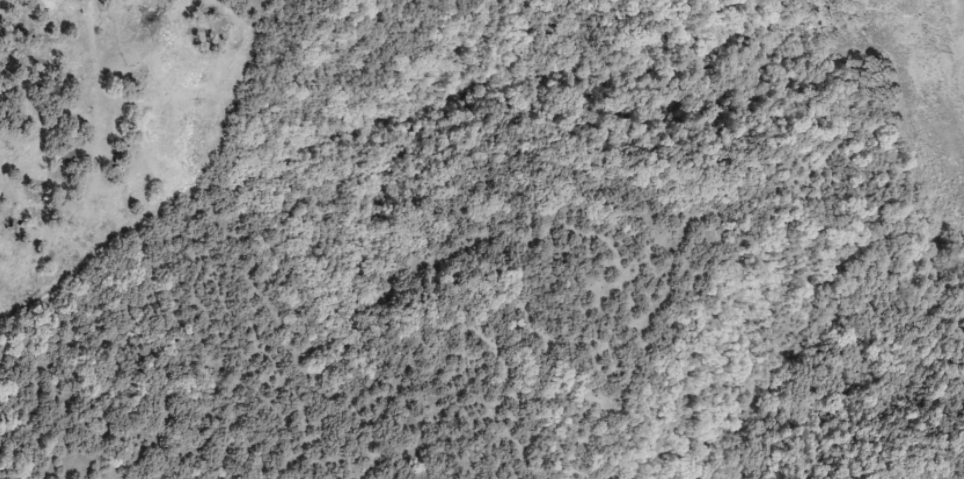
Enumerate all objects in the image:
road: (34, 6)
building: (151, 125)

